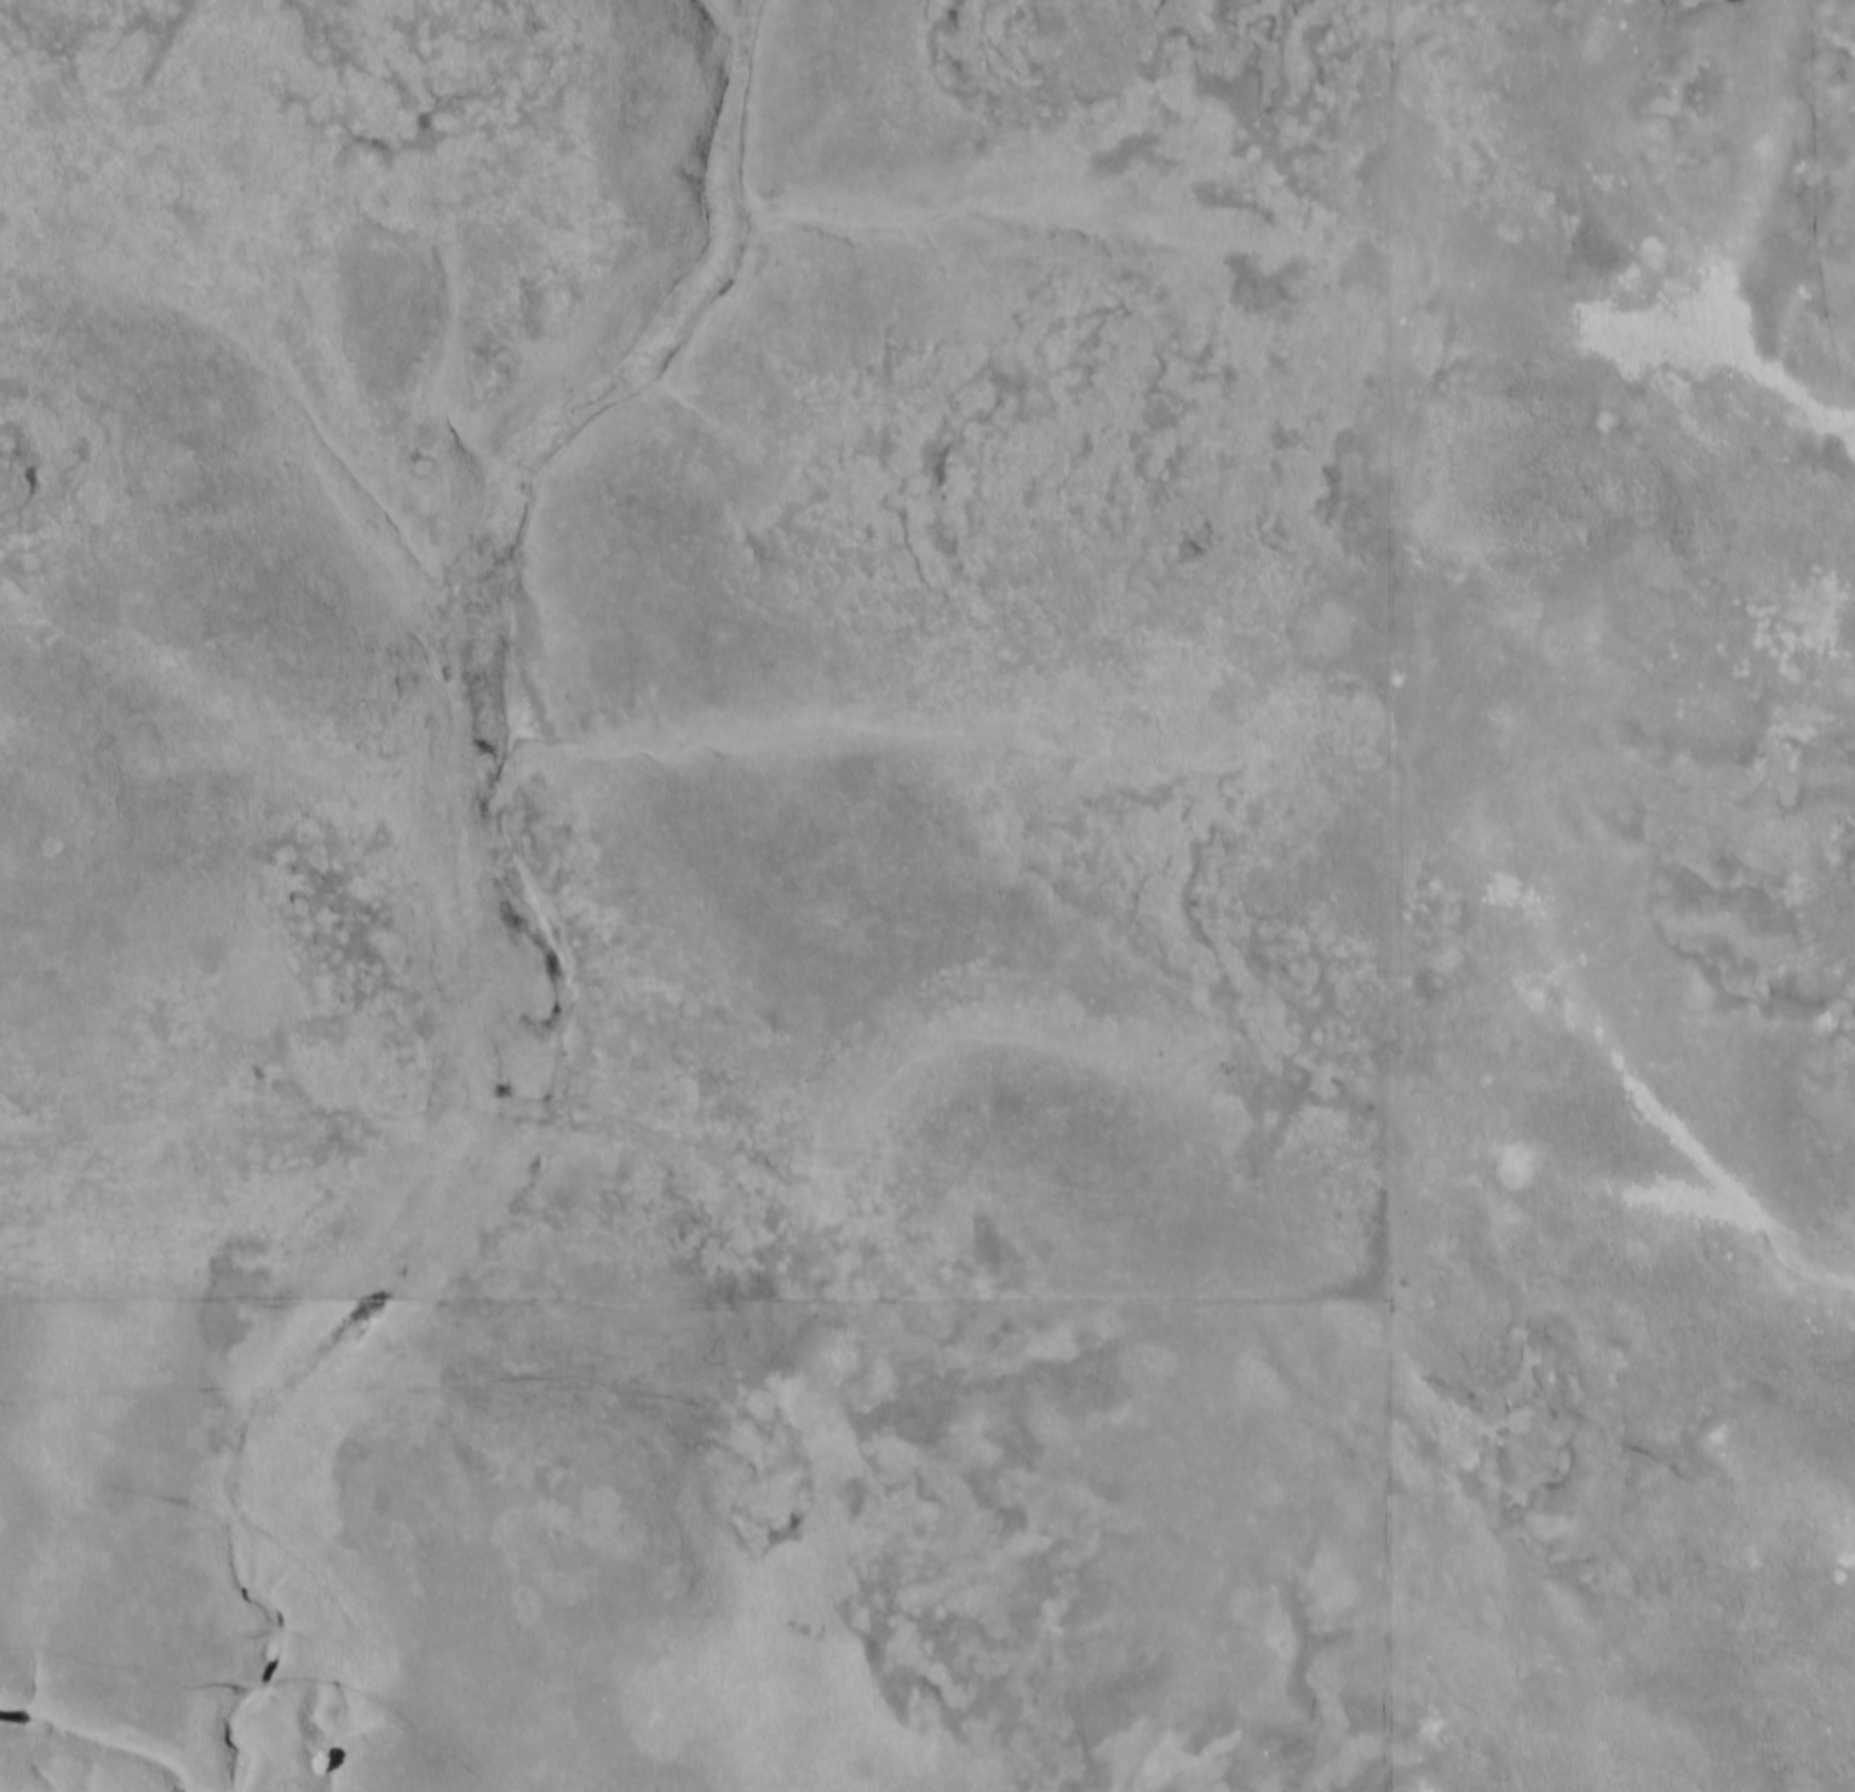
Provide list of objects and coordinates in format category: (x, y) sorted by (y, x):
road: (1405, 896)

